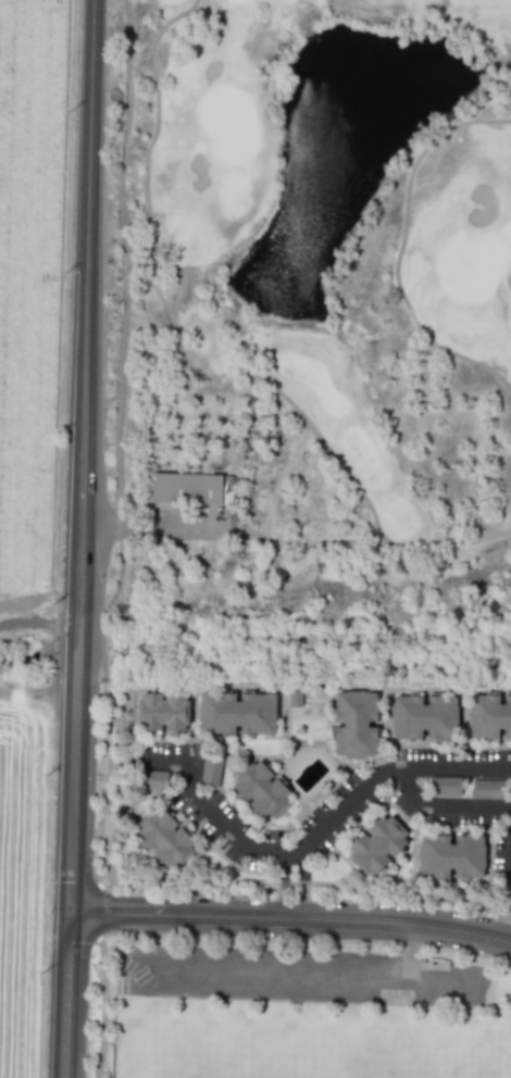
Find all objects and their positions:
road: (400, 251)
road: (120, 341)
park: (323, 344)
road: (196, 375)
road: (85, 454)
building: (189, 489)
road: (233, 529)
street lamp: (98, 681)
road: (39, 689)
building: (165, 717)
building: (240, 718)
building: (491, 720)
building: (427, 723)
building: (360, 730)
building: (211, 772)
road: (384, 776)
street lamp: (96, 778)
road: (101, 778)
building: (152, 781)
building: (445, 786)
building: (487, 789)
building: (262, 792)
road: (440, 813)
road: (226, 823)
building: (164, 838)
building: (383, 850)
building: (454, 861)
street lamp: (92, 869)
crop: (17, 873)
road: (310, 882)
road: (301, 883)
road: (284, 886)
road: (291, 915)
street lamp: (378, 945)
road: (410, 949)
street lamp: (91, 956)
parking lot: (304, 973)
road: (102, 975)
road: (68, 993)
park: (294, 1011)
park: (199, 1051)
street lamp: (88, 1053)
park: (374, 1054)
park: (494, 1057)

